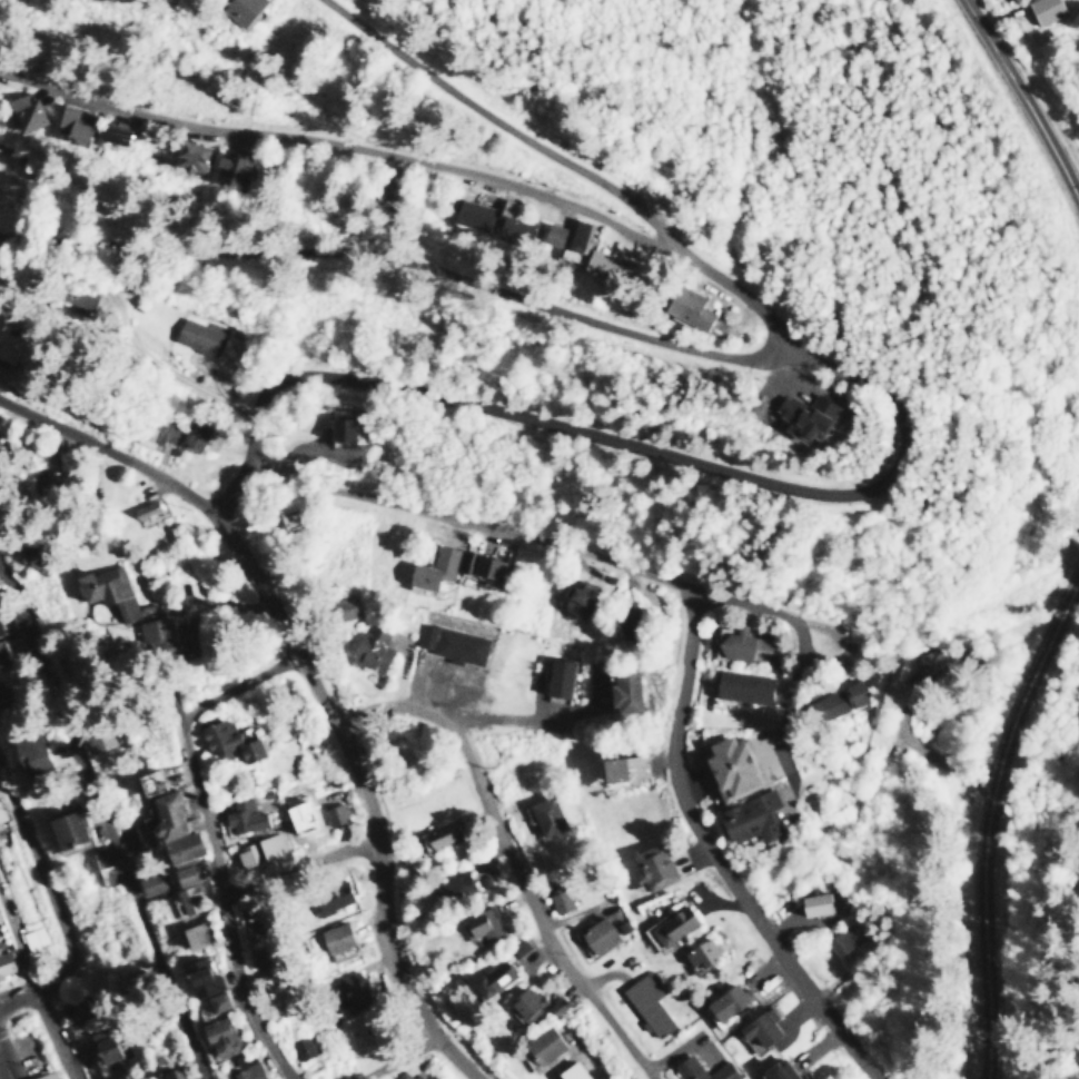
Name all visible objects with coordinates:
building: (240, 9)
building: (1045, 9)
road: (1022, 105)
building: (73, 121)
building: (112, 132)
road: (345, 140)
building: (195, 156)
building: (235, 168)
building: (473, 212)
building: (513, 221)
building: (567, 239)
building: (606, 266)
building: (687, 306)
building: (195, 335)
road: (673, 344)
road: (177, 376)
building: (803, 415)
building: (336, 428)
building: (160, 434)
building: (195, 435)
road: (625, 440)
road: (248, 499)
road: (606, 556)
building: (488, 566)
building: (434, 567)
building: (106, 590)
building: (581, 597)
road: (751, 602)
building: (343, 606)
building: (0, 632)
building: (157, 633)
building: (449, 643)
building: (744, 645)
building: (370, 646)
building: (4, 652)
building: (556, 677)
road: (238, 684)
building: (742, 685)
building: (626, 690)
building: (837, 701)
road: (799, 704)
building: (226, 741)
building: (33, 748)
building: (730, 765)
building: (625, 769)
building: (149, 781)
road: (364, 789)
building: (334, 813)
building: (242, 815)
building: (545, 815)
building: (749, 816)
road: (986, 816)
building: (0, 818)
road: (107, 822)
building: (69, 828)
building: (172, 828)
building: (436, 840)
building: (258, 849)
road: (712, 854)
road: (512, 857)
building: (106, 862)
building: (652, 867)
road: (301, 868)
building: (185, 875)
road: (43, 879)
building: (151, 882)
building: (455, 887)
building: (330, 897)
building: (190, 898)
building: (560, 900)
building: (821, 901)
road: (230, 902)
building: (482, 923)
building: (670, 925)
building: (195, 934)
building: (596, 934)
building: (34, 937)
building: (842, 939)
building: (335, 940)
road: (18, 943)
building: (697, 952)
building: (7, 962)
building: (200, 977)
building: (135, 979)
building: (491, 981)
building: (270, 983)
building: (349, 991)
road: (18, 998)
building: (524, 1001)
building: (725, 1001)
building: (214, 1002)
building: (646, 1002)
building: (78, 1004)
building: (555, 1004)
building: (758, 1029)
road: (53, 1036)
building: (218, 1037)
building: (543, 1045)
building: (303, 1047)
building: (105, 1049)
road: (587, 1056)
road: (404, 1058)
road: (4, 1065)
building: (248, 1067)
building: (687, 1068)
parking lot: (3, 1069)
building: (774, 1070)
building: (574, 1071)
building: (171, 1073)
building: (47, 1075)
building: (412, 1077)

